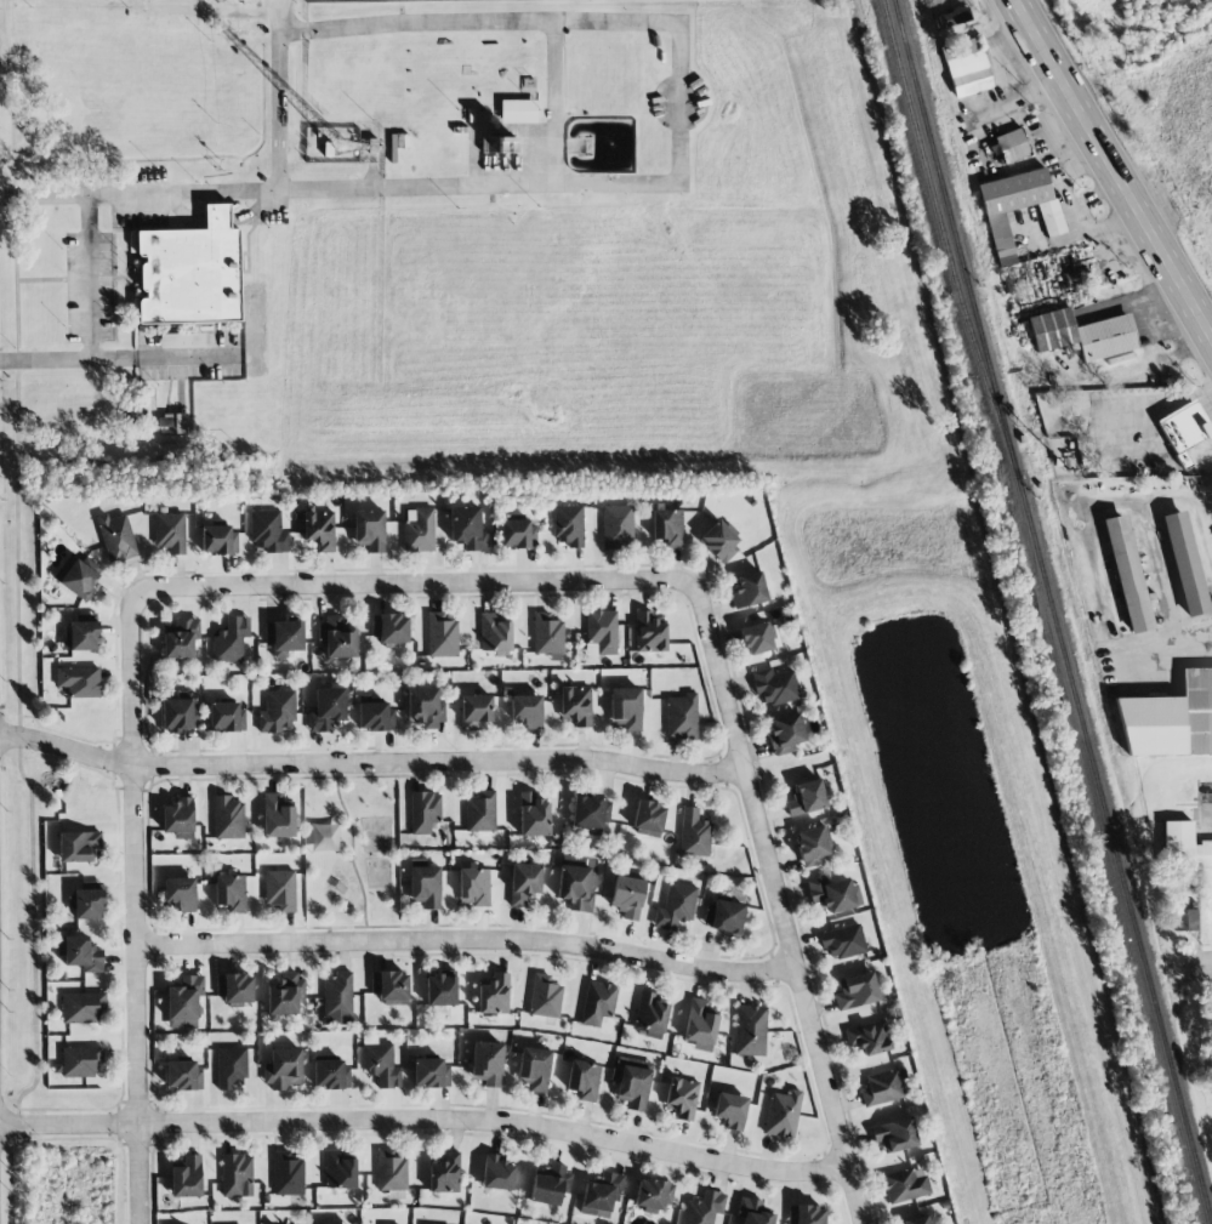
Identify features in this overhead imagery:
road: (209, 6)
road: (284, 8)
road: (278, 18)
building: (952, 18)
road: (483, 24)
building: (966, 68)
road: (552, 104)
road: (1000, 104)
building: (518, 112)
building: (497, 144)
building: (1012, 146)
road: (1115, 170)
road: (337, 190)
building: (1018, 206)
railway: (939, 218)
road: (1082, 233)
building: (190, 273)
building: (1077, 277)
road: (87, 279)
building: (1052, 330)
building: (1105, 337)
building: (181, 341)
road: (157, 360)
building: (173, 422)
building: (1184, 431)
building: (568, 525)
building: (618, 526)
building: (667, 526)
building: (319, 529)
building: (467, 529)
building: (369, 530)
building: (419, 530)
building: (267, 531)
building: (170, 534)
building: (517, 534)
building: (116, 537)
building: (217, 540)
building: (719, 541)
building: (1184, 564)
building: (1127, 574)
building: (75, 577)
road: (406, 586)
building: (749, 591)
railway: (1052, 609)
building: (389, 628)
building: (601, 632)
building: (649, 633)
building: (494, 634)
building: (547, 634)
building: (82, 636)
building: (442, 636)
building: (284, 637)
building: (337, 637)
building: (180, 638)
building: (756, 638)
building: (231, 639)
road: (1180, 661)
building: (79, 682)
building: (774, 687)
building: (575, 705)
building: (425, 707)
building: (626, 707)
building: (326, 708)
building: (474, 711)
building: (527, 711)
building: (277, 712)
building: (176, 715)
building: (372, 715)
building: (681, 716)
building: (226, 717)
building: (1170, 719)
building: (785, 734)
road: (369, 762)
building: (806, 798)
building: (425, 812)
building: (480, 812)
building: (590, 814)
building: (533, 815)
building: (277, 816)
building: (648, 816)
building: (228, 818)
building: (178, 819)
building: (694, 835)
building: (78, 847)
building: (812, 847)
building: (1184, 847)
building: (524, 883)
building: (425, 886)
building: (473, 887)
building: (576, 888)
building: (280, 890)
building: (231, 892)
building: (180, 893)
building: (831, 895)
building: (627, 896)
road: (773, 901)
building: (86, 904)
building: (676, 906)
road: (132, 909)
building: (1184, 916)
building: (724, 917)
road: (462, 940)
building: (843, 941)
building: (80, 953)
road: (1196, 968)
building: (391, 986)
building: (234, 987)
building: (440, 991)
building: (855, 991)
building: (494, 994)
building: (285, 995)
building: (545, 996)
building: (337, 1000)
building: (183, 1002)
building: (597, 1003)
building: (81, 1007)
building: (650, 1015)
building: (700, 1023)
building: (750, 1030)
building: (869, 1038)
building: (80, 1061)
building: (486, 1064)
building: (381, 1065)
building: (232, 1068)
building: (283, 1069)
building: (534, 1069)
building: (431, 1074)
building: (331, 1075)
building: (183, 1076)
building: (584, 1080)
building: (631, 1086)
building: (882, 1087)
building: (682, 1098)
building: (730, 1110)
building: (783, 1114)
road: (426, 1120)
building: (894, 1135)
building: (338, 1171)
building: (391, 1172)
building: (288, 1173)
building: (496, 1173)
building: (444, 1174)
building: (235, 1175)
building: (187, 1178)
building: (548, 1185)
building: (905, 1185)
building: (601, 1194)
building: (653, 1196)
building: (704, 1208)
building: (753, 1212)
building: (806, 1214)
building: (916, 1220)

